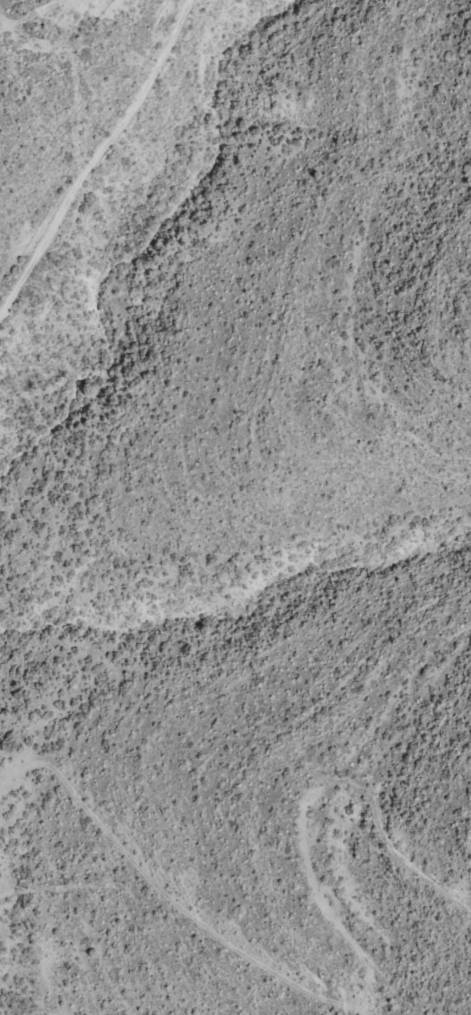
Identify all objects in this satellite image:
road: (118, 181)
road: (317, 972)

